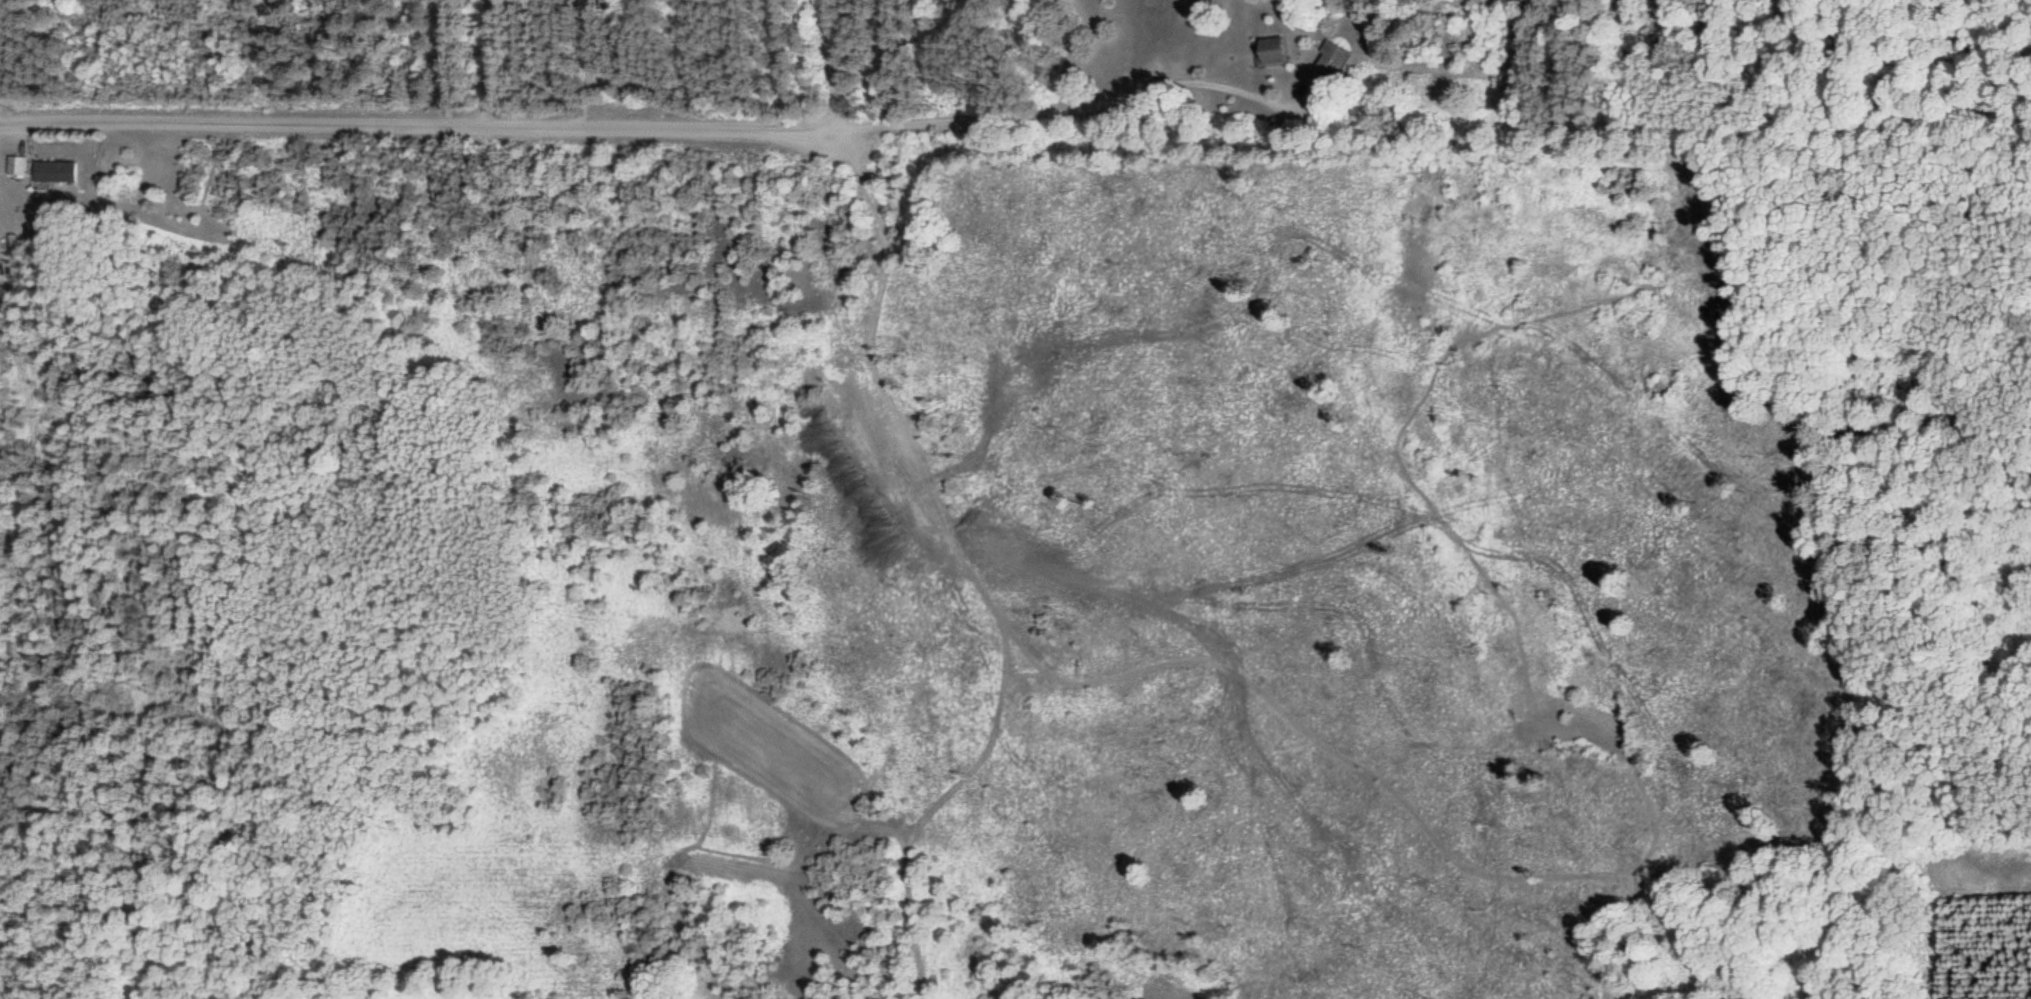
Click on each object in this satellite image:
building: (609, 2)
road: (2, 39)
building: (1330, 59)
road: (487, 61)
road: (1085, 106)
road: (417, 123)
building: (17, 166)
building: (55, 172)

